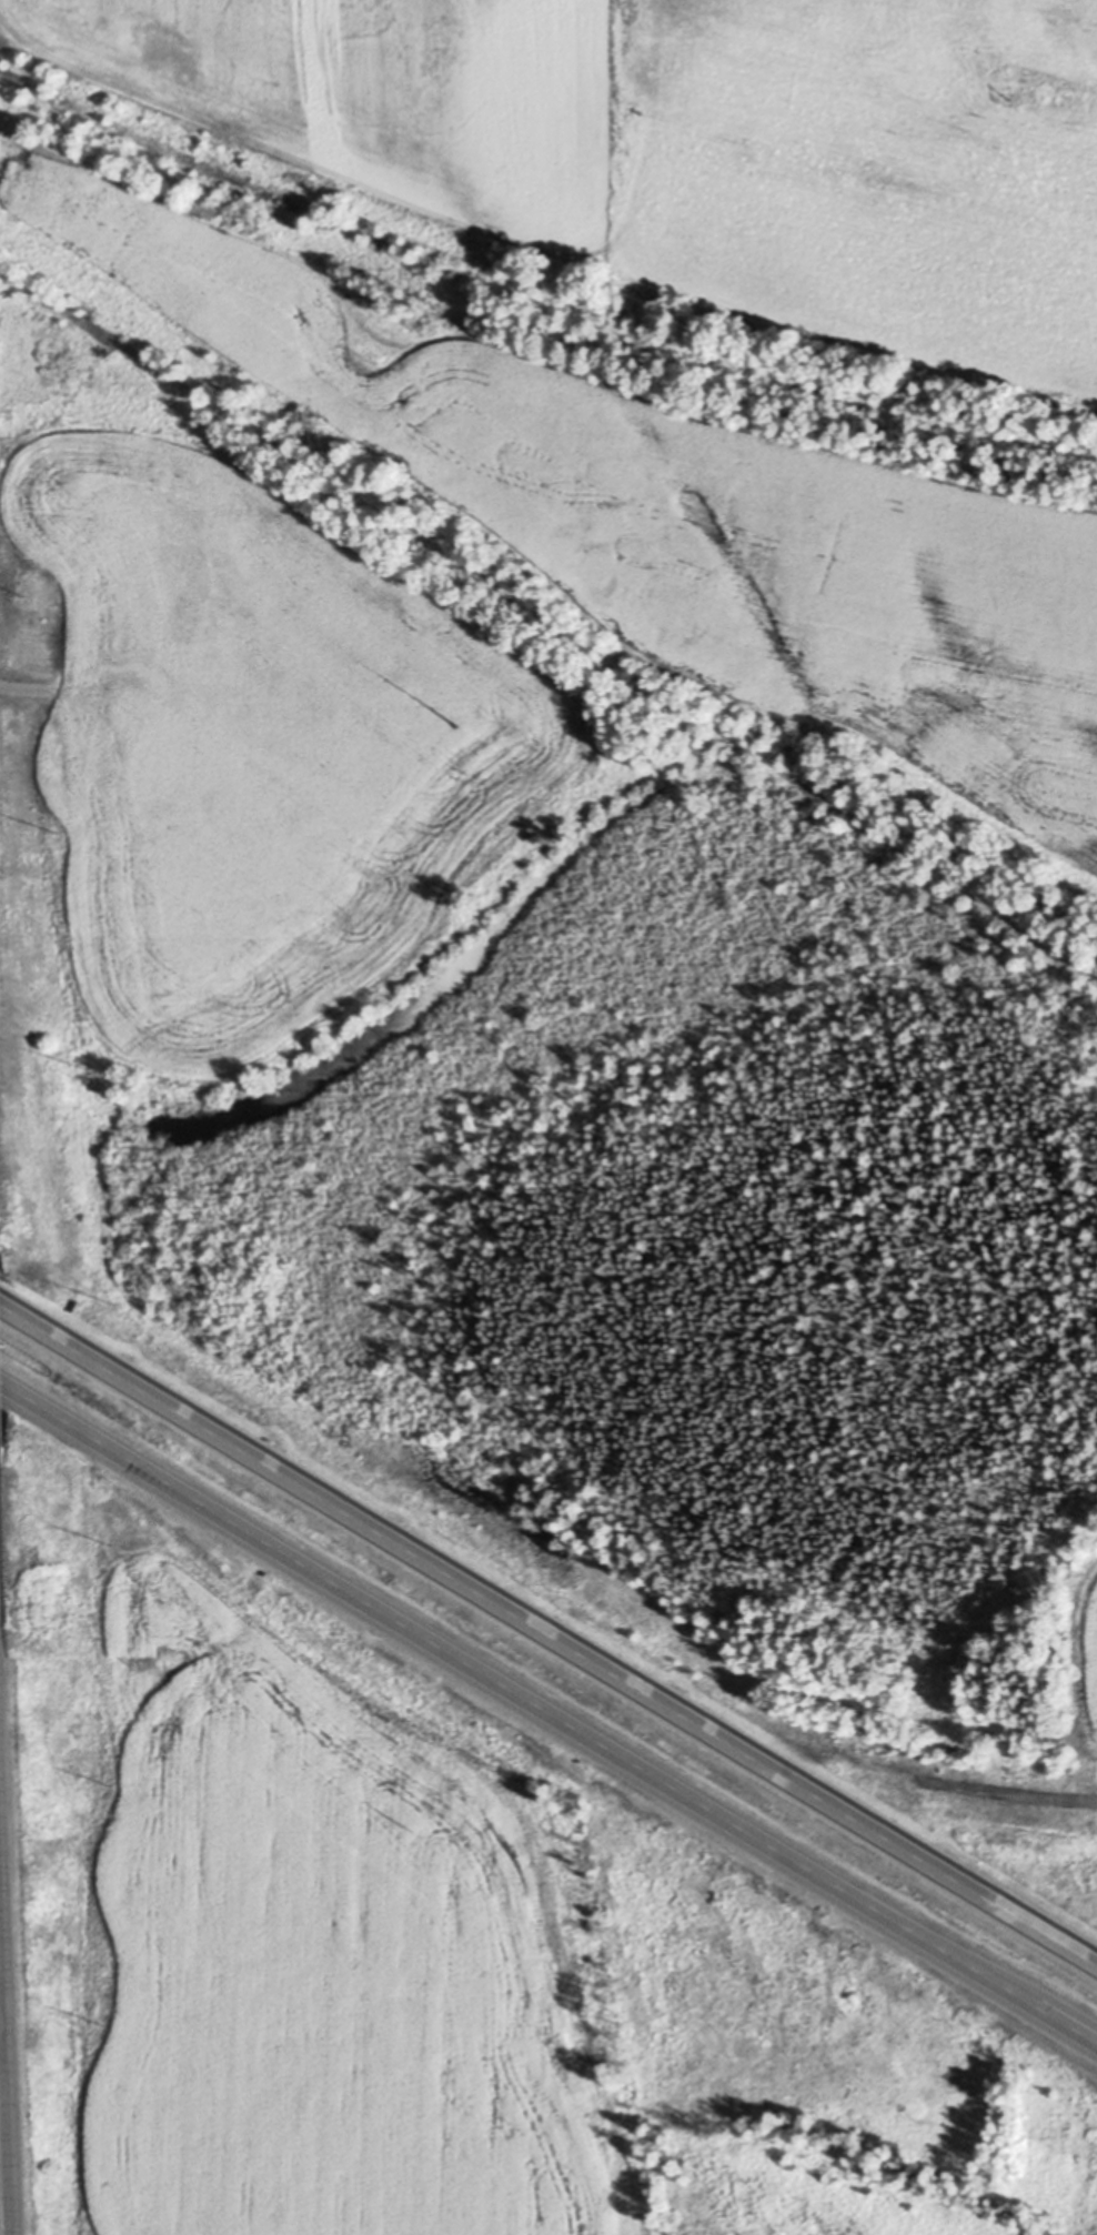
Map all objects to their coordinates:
railway: (534, 302)
road: (547, 1631)
road: (548, 1711)
road: (7, 1940)

